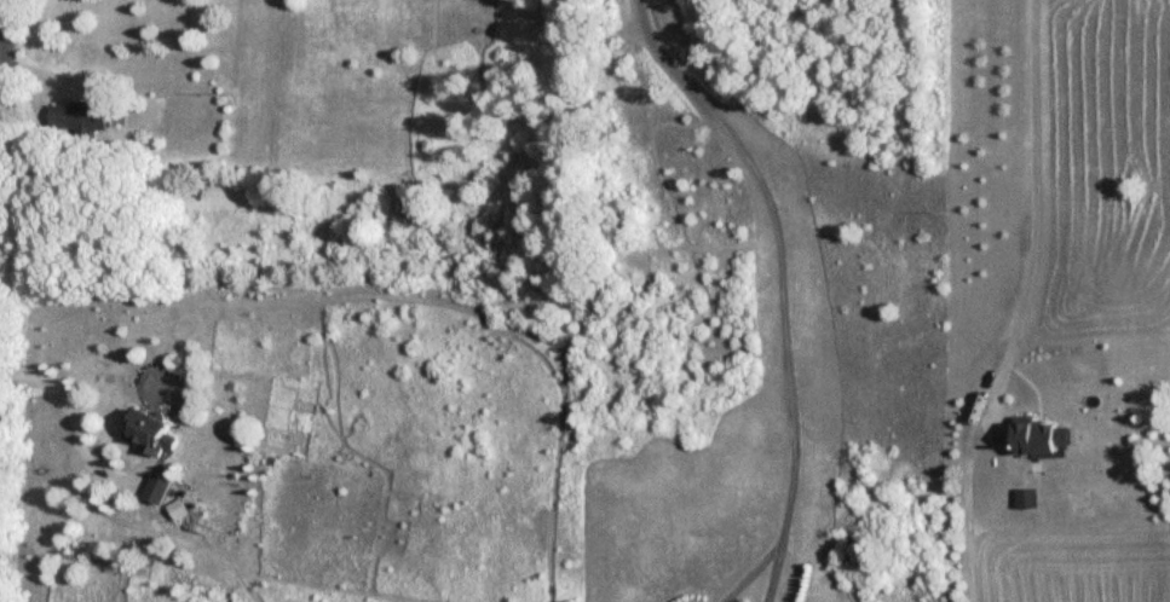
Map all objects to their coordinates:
building: (87, 116)
road: (780, 250)
road: (1025, 305)
road: (81, 421)
building: (159, 432)
building: (1043, 436)
building: (166, 490)
building: (1030, 498)
road: (750, 572)
road: (773, 572)

